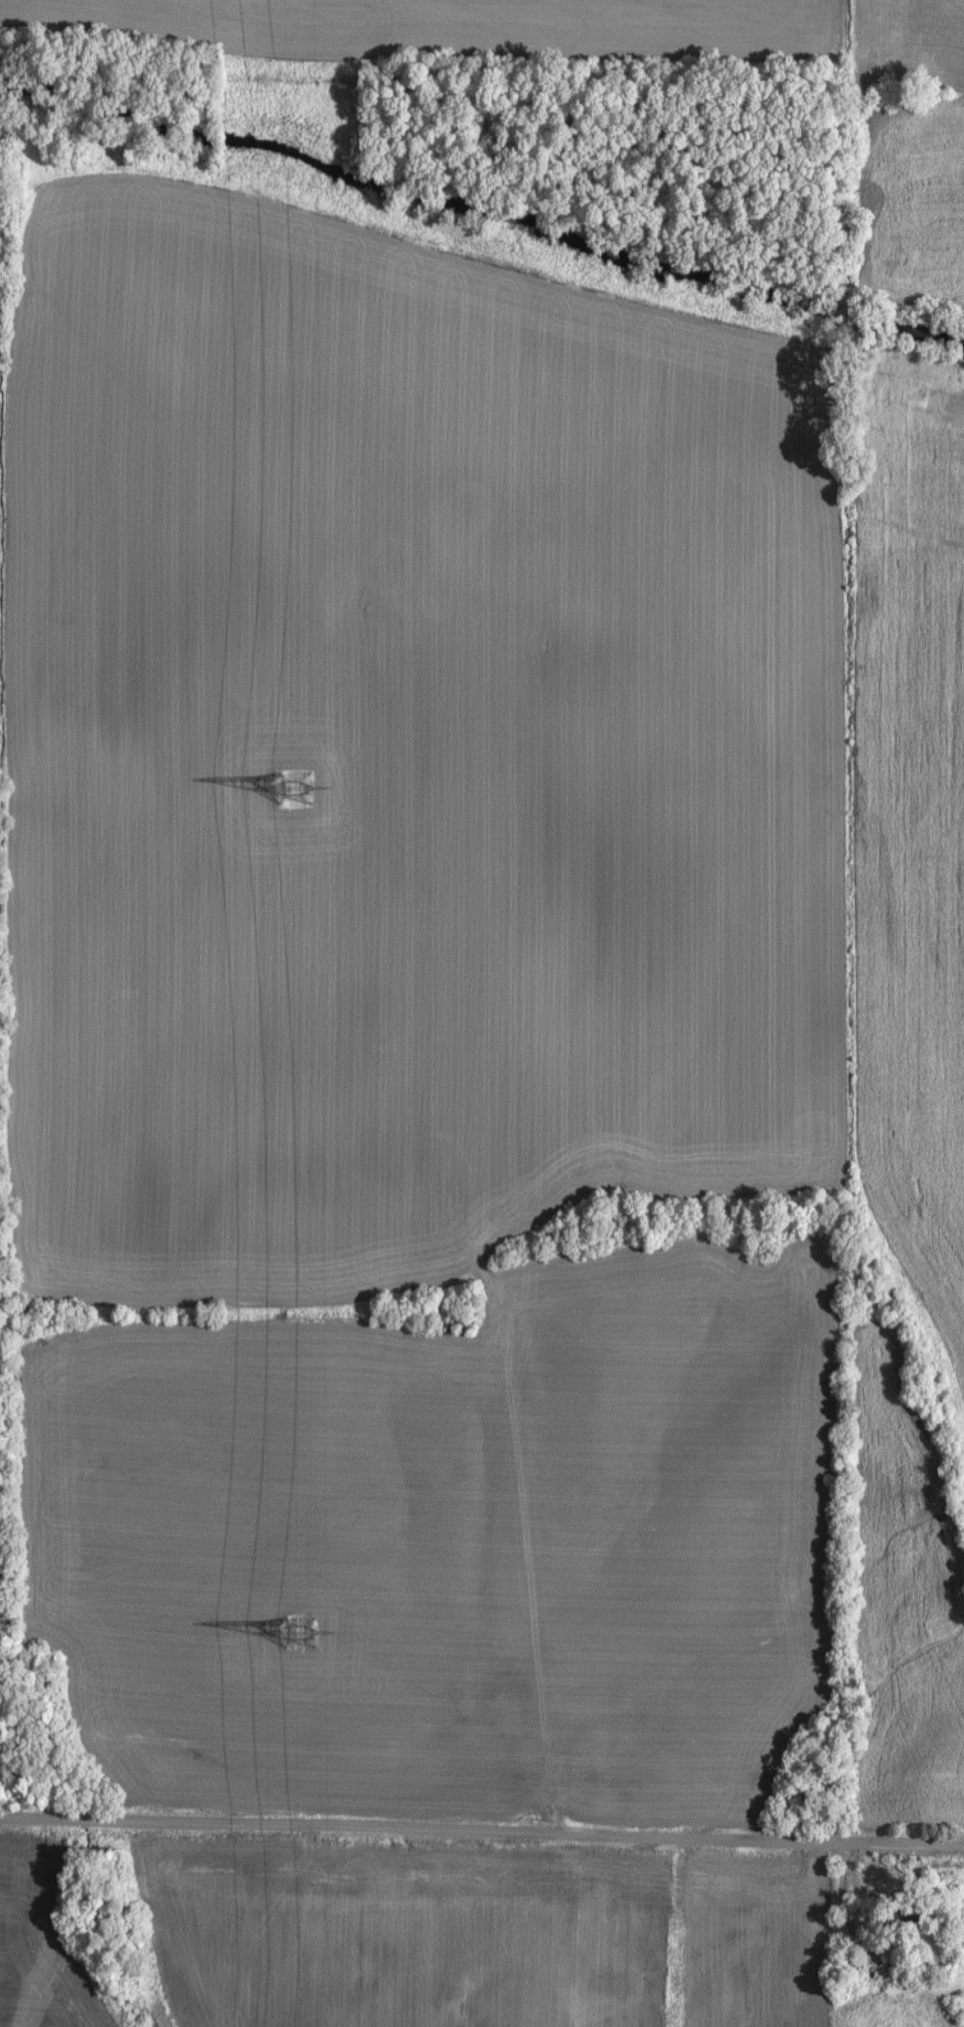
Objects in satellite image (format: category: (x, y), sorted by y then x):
power tower: (291, 790)
power tower: (295, 1633)
road: (481, 1831)
road: (835, 1902)
building: (844, 1964)

